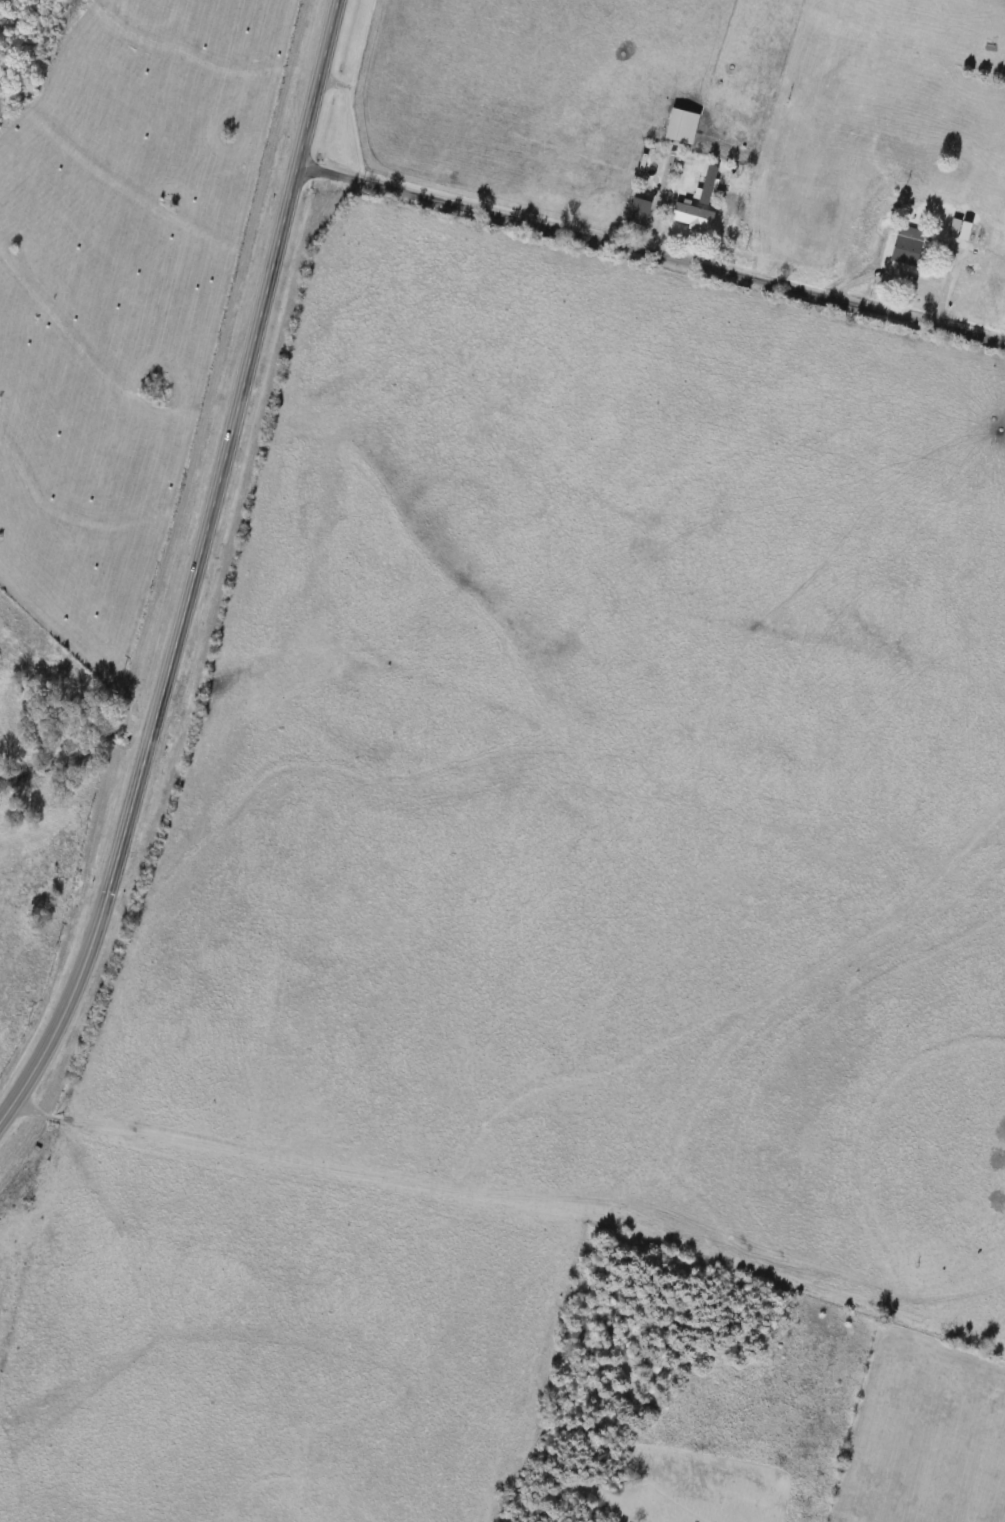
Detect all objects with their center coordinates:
building: (959, 167)
building: (611, 197)
building: (640, 211)
building: (695, 215)
building: (910, 246)
road: (649, 255)
road: (191, 570)

